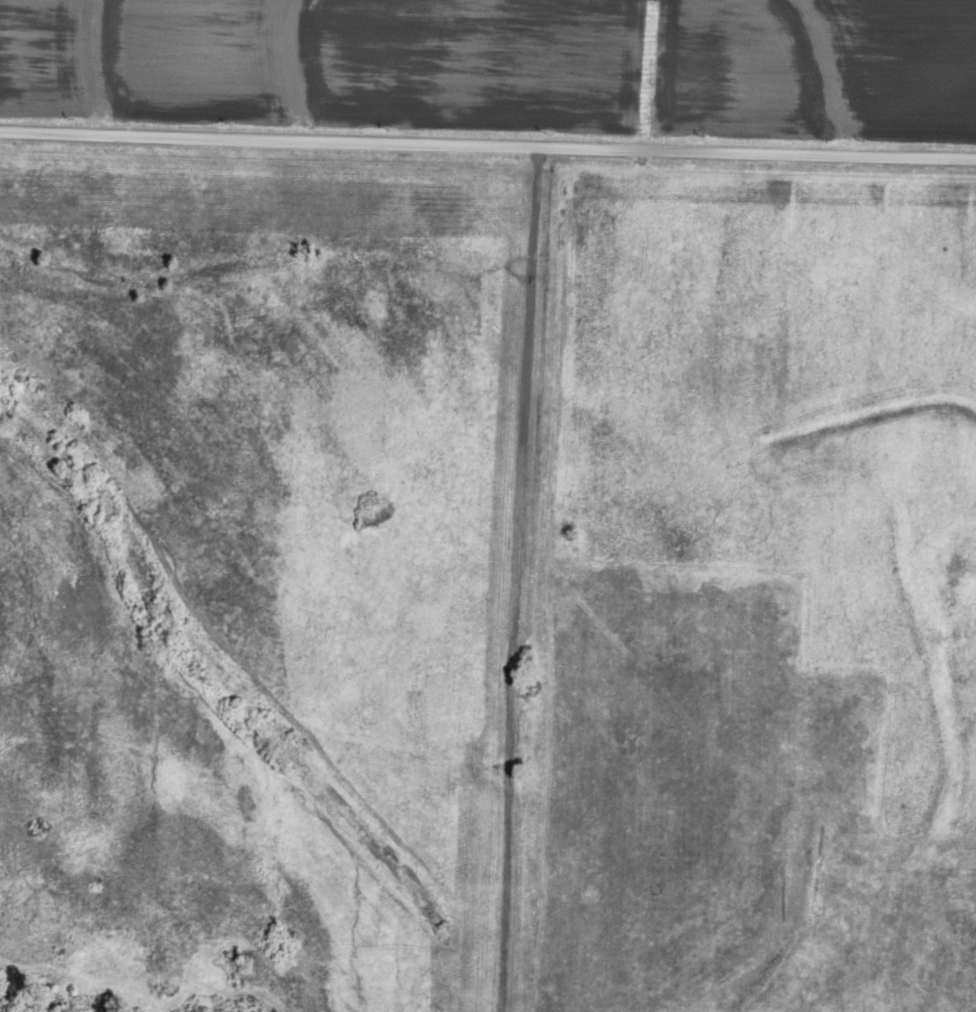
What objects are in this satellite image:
road: (488, 145)

